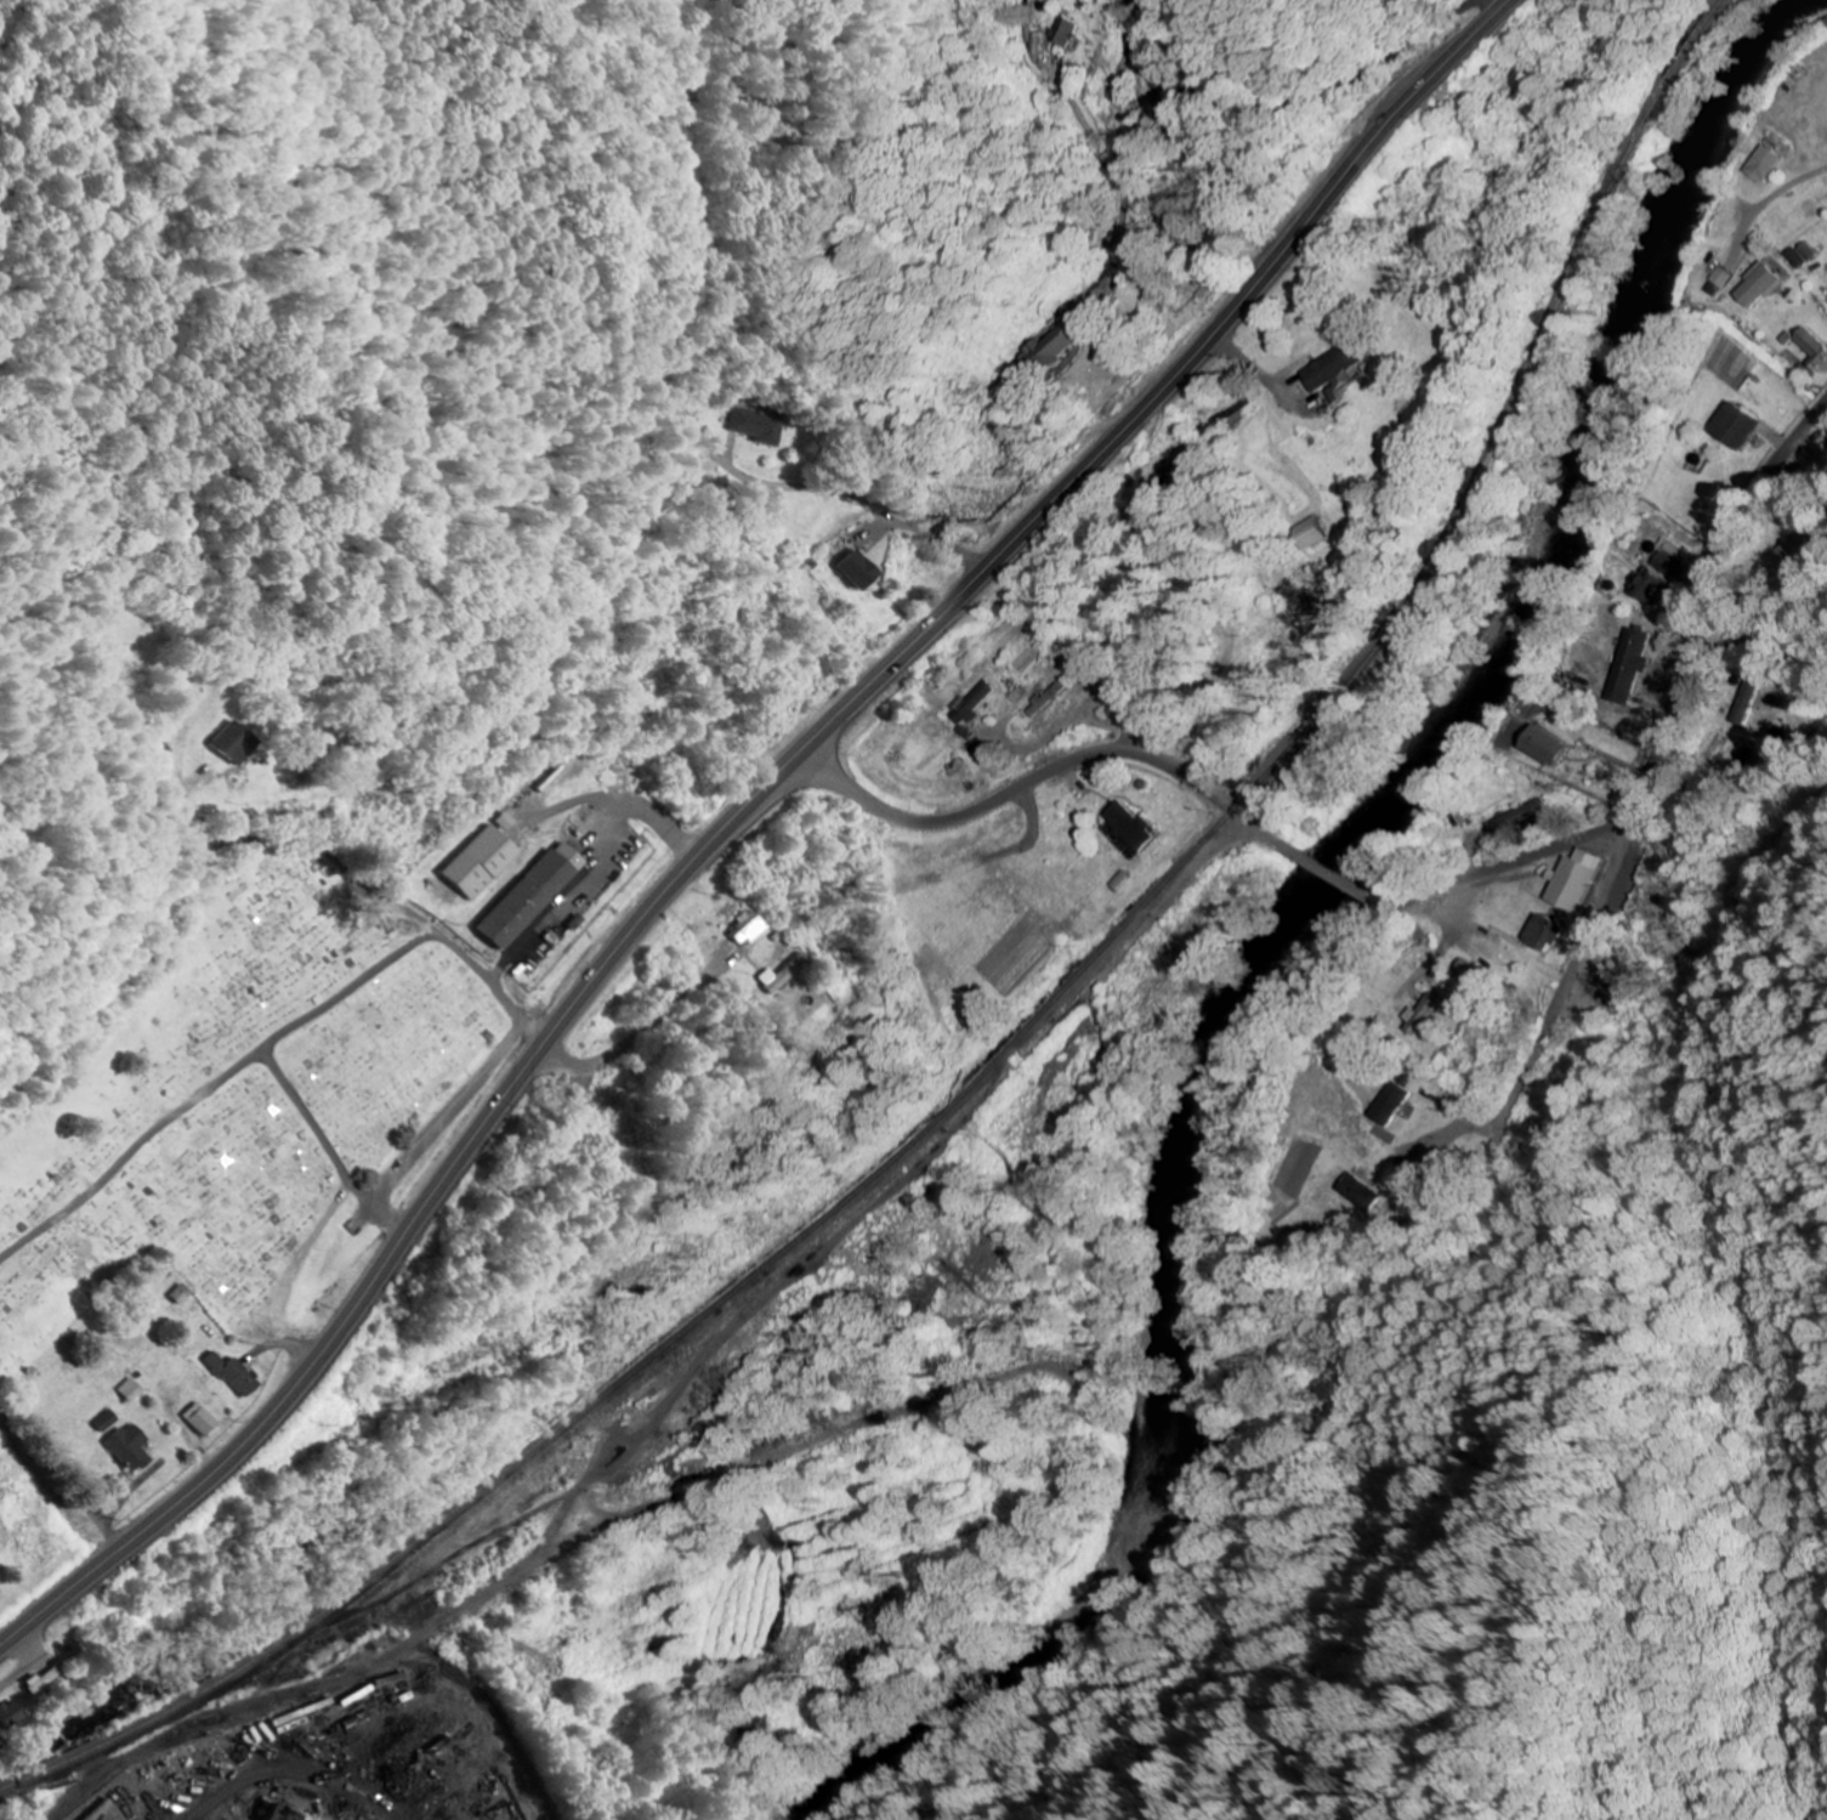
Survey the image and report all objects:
building: (1061, 30)
building: (1764, 164)
park: (890, 187)
building: (1793, 257)
building: (1717, 280)
building: (1758, 284)
building: (1812, 350)
building: (1052, 355)
building: (1341, 365)
railway: (1502, 424)
building: (1740, 425)
building: (751, 426)
building: (1188, 476)
road: (851, 497)
building: (1788, 554)
building: (859, 571)
building: (1656, 579)
road: (1758, 623)
road: (1783, 654)
building: (1628, 665)
road: (1103, 688)
building: (1051, 698)
building: (975, 703)
road: (1658, 719)
building: (234, 743)
building: (1547, 747)
road: (1036, 778)
road: (742, 810)
building: (1519, 818)
building: (1136, 827)
road: (255, 839)
road: (1286, 847)
building: (483, 862)
road: (1330, 877)
building: (1573, 880)
building: (534, 895)
river: (1283, 922)
building: (748, 928)
building: (1538, 930)
road: (1565, 962)
building: (782, 974)
building: (1475, 974)
building: (1419, 1014)
park: (234, 1102)
building: (1390, 1104)
building: (1358, 1192)
building: (180, 1294)
railway: (657, 1354)
building: (232, 1374)
building: (126, 1390)
building: (197, 1419)
building: (101, 1421)
building: (124, 1448)
building: (10, 1713)

